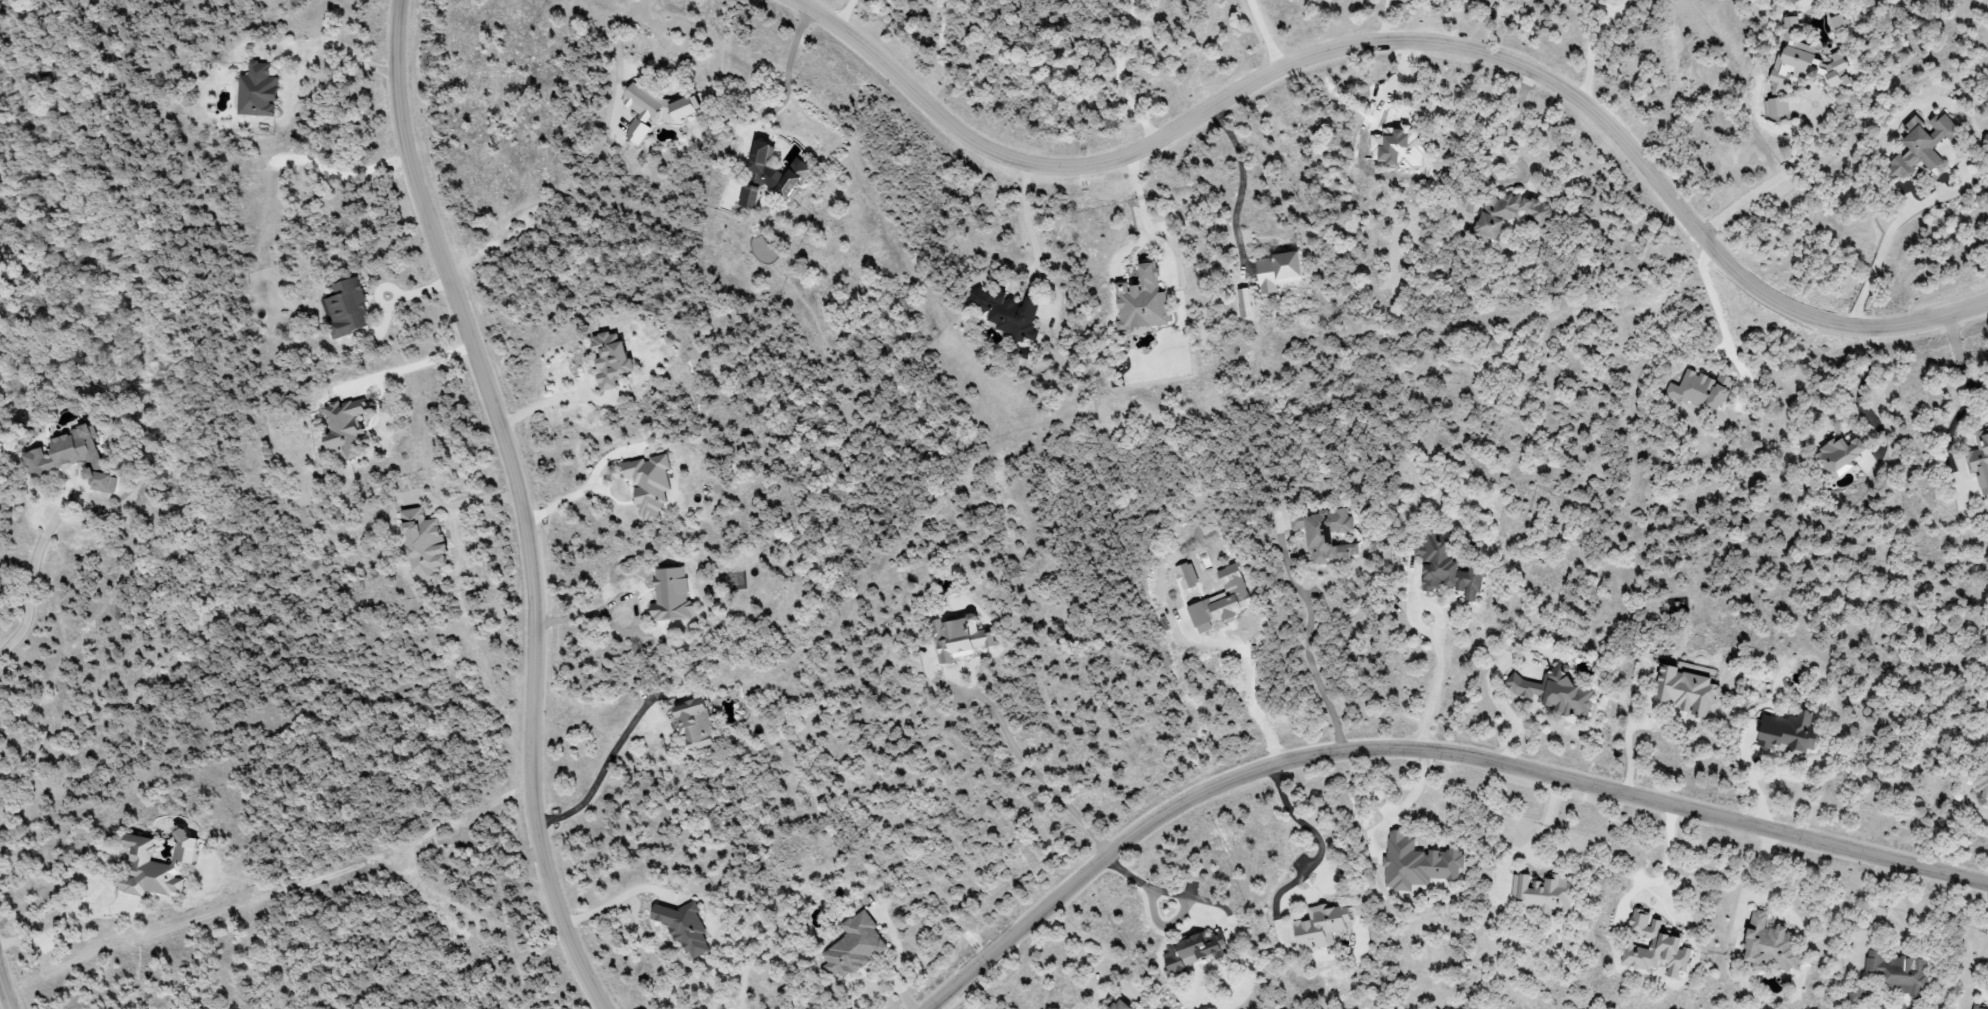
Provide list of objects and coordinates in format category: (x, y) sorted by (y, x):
road: (845, 12)
road: (1386, 22)
building: (1837, 22)
road: (1485, 26)
road: (616, 33)
road: (1403, 43)
road: (337, 44)
road: (1594, 47)
building: (1805, 60)
road: (791, 73)
building: (257, 91)
building: (1776, 106)
building: (654, 110)
road: (1512, 128)
building: (1985, 141)
building: (1921, 145)
building: (774, 170)
road: (1239, 183)
road: (1764, 184)
building: (748, 195)
building: (1510, 213)
road: (1142, 216)
road: (1024, 220)
road: (1884, 249)
building: (1276, 271)
building: (1142, 300)
road: (1717, 300)
building: (346, 308)
building: (1008, 314)
building: (609, 358)
road: (408, 362)
building: (1701, 391)
road: (1862, 394)
road: (550, 400)
road: (1967, 403)
building: (346, 428)
building: (1838, 457)
building: (71, 458)
building: (1979, 461)
building: (648, 485)
road: (588, 486)
road: (469, 497)
road: (520, 502)
building: (1325, 535)
building: (423, 543)
building: (1446, 567)
road: (31, 576)
building: (1186, 576)
building: (670, 595)
building: (1220, 600)
road: (616, 602)
building: (959, 639)
road: (1439, 664)
road: (1309, 665)
road: (1248, 681)
building: (1684, 692)
building: (1554, 694)
building: (693, 723)
road: (1630, 730)
building: (1787, 733)
road: (1426, 745)
road: (1023, 762)
road: (604, 767)
building: (1981, 783)
road: (1414, 792)
road: (1322, 844)
road: (106, 846)
building: (1419, 862)
building: (154, 867)
road: (1757, 872)
building: (1542, 894)
road: (1879, 902)
building: (683, 927)
building: (1319, 927)
road: (38, 938)
road: (1087, 940)
building: (1769, 945)
building: (1654, 946)
building: (855, 947)
building: (1192, 952)
road: (899, 957)
road: (1976, 969)
building: (1897, 972)
road: (1, 987)
road: (3, 994)
building: (1113, 1004)
building: (1975, 1007)

